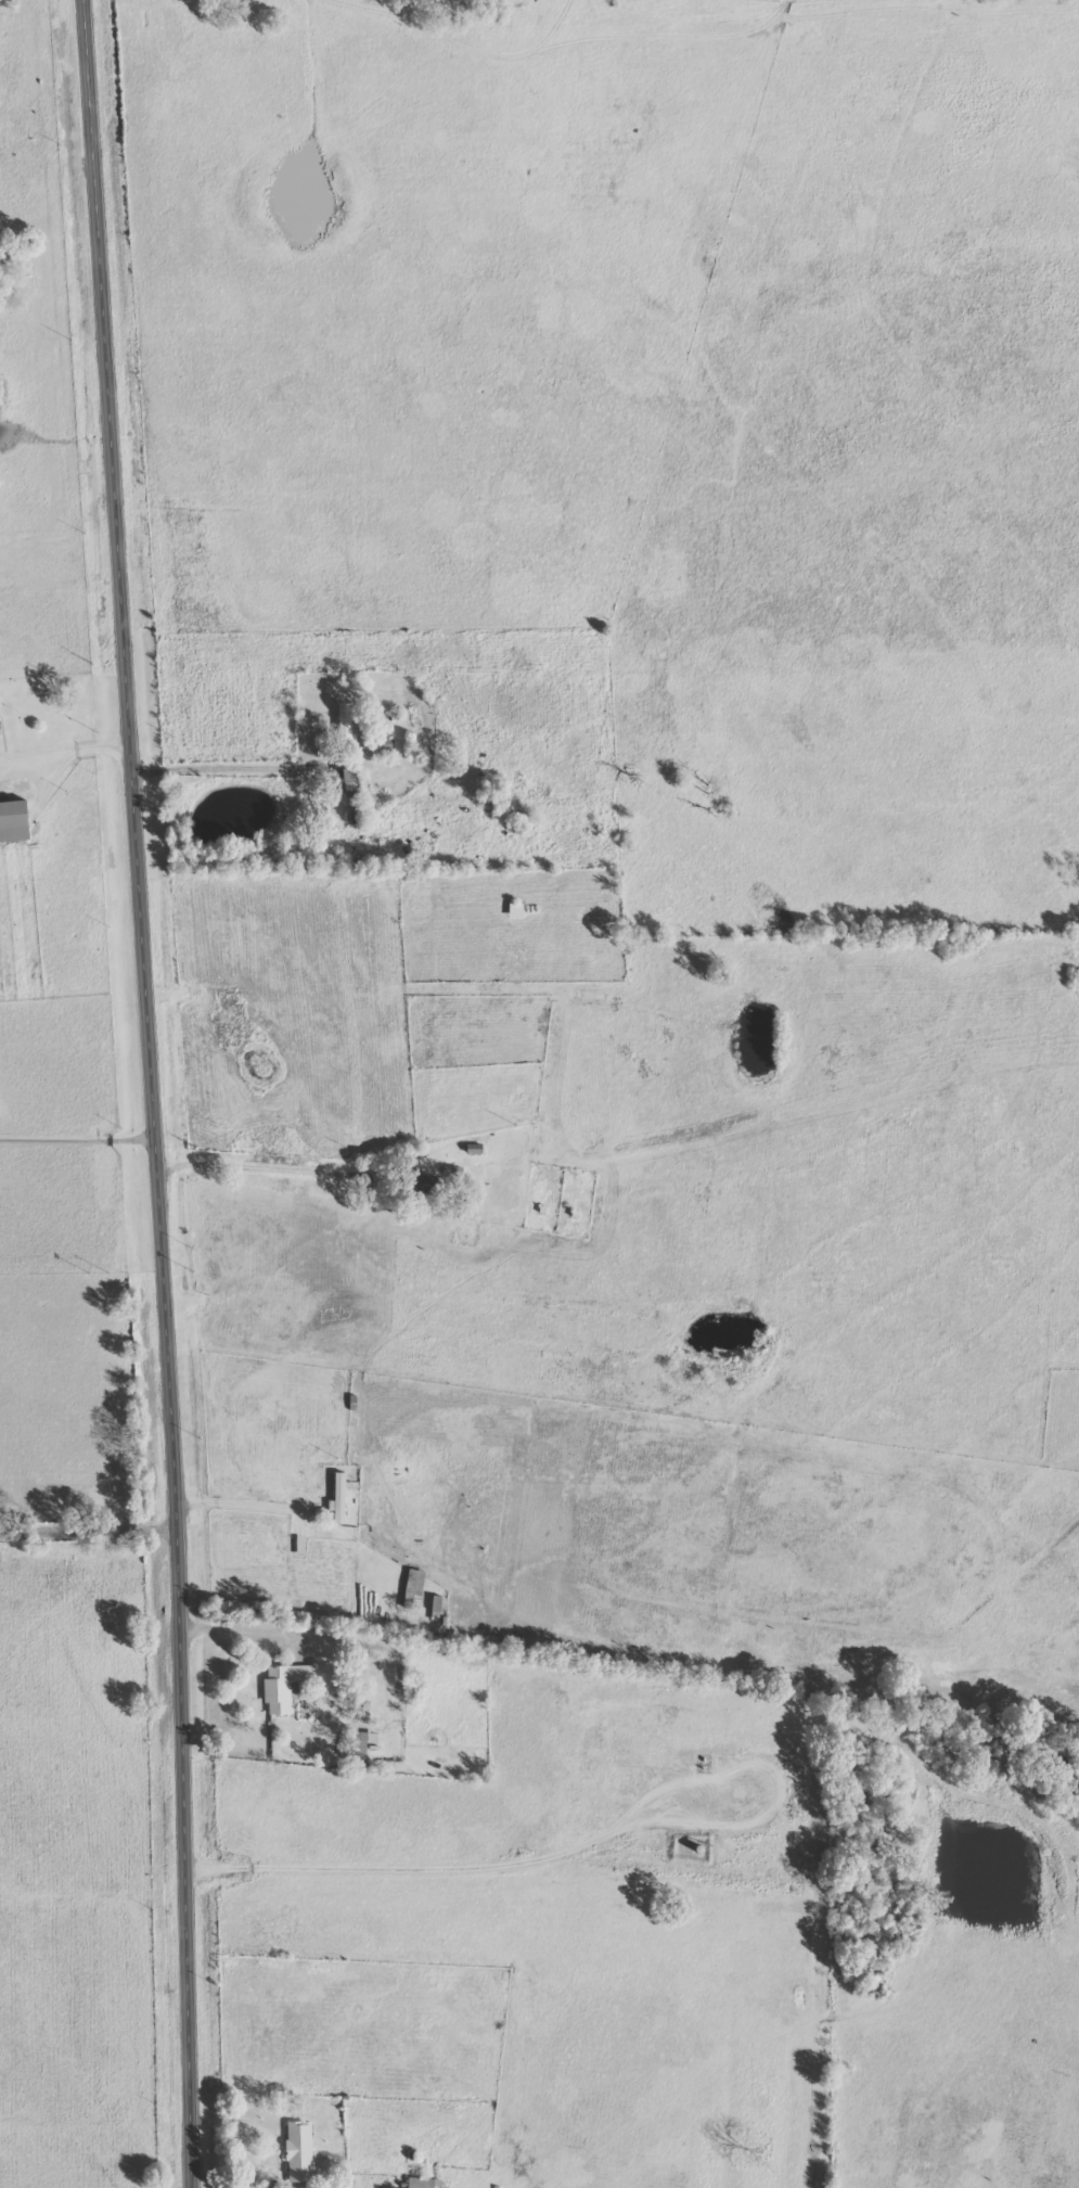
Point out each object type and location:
building: (0, 705)
building: (349, 731)
building: (381, 750)
road: (60, 765)
building: (355, 784)
building: (16, 822)
road: (144, 1093)
building: (425, 1186)
building: (416, 1590)
building: (287, 1688)
building: (369, 1742)
building: (303, 2153)
road: (260, 2168)
building: (426, 2184)

